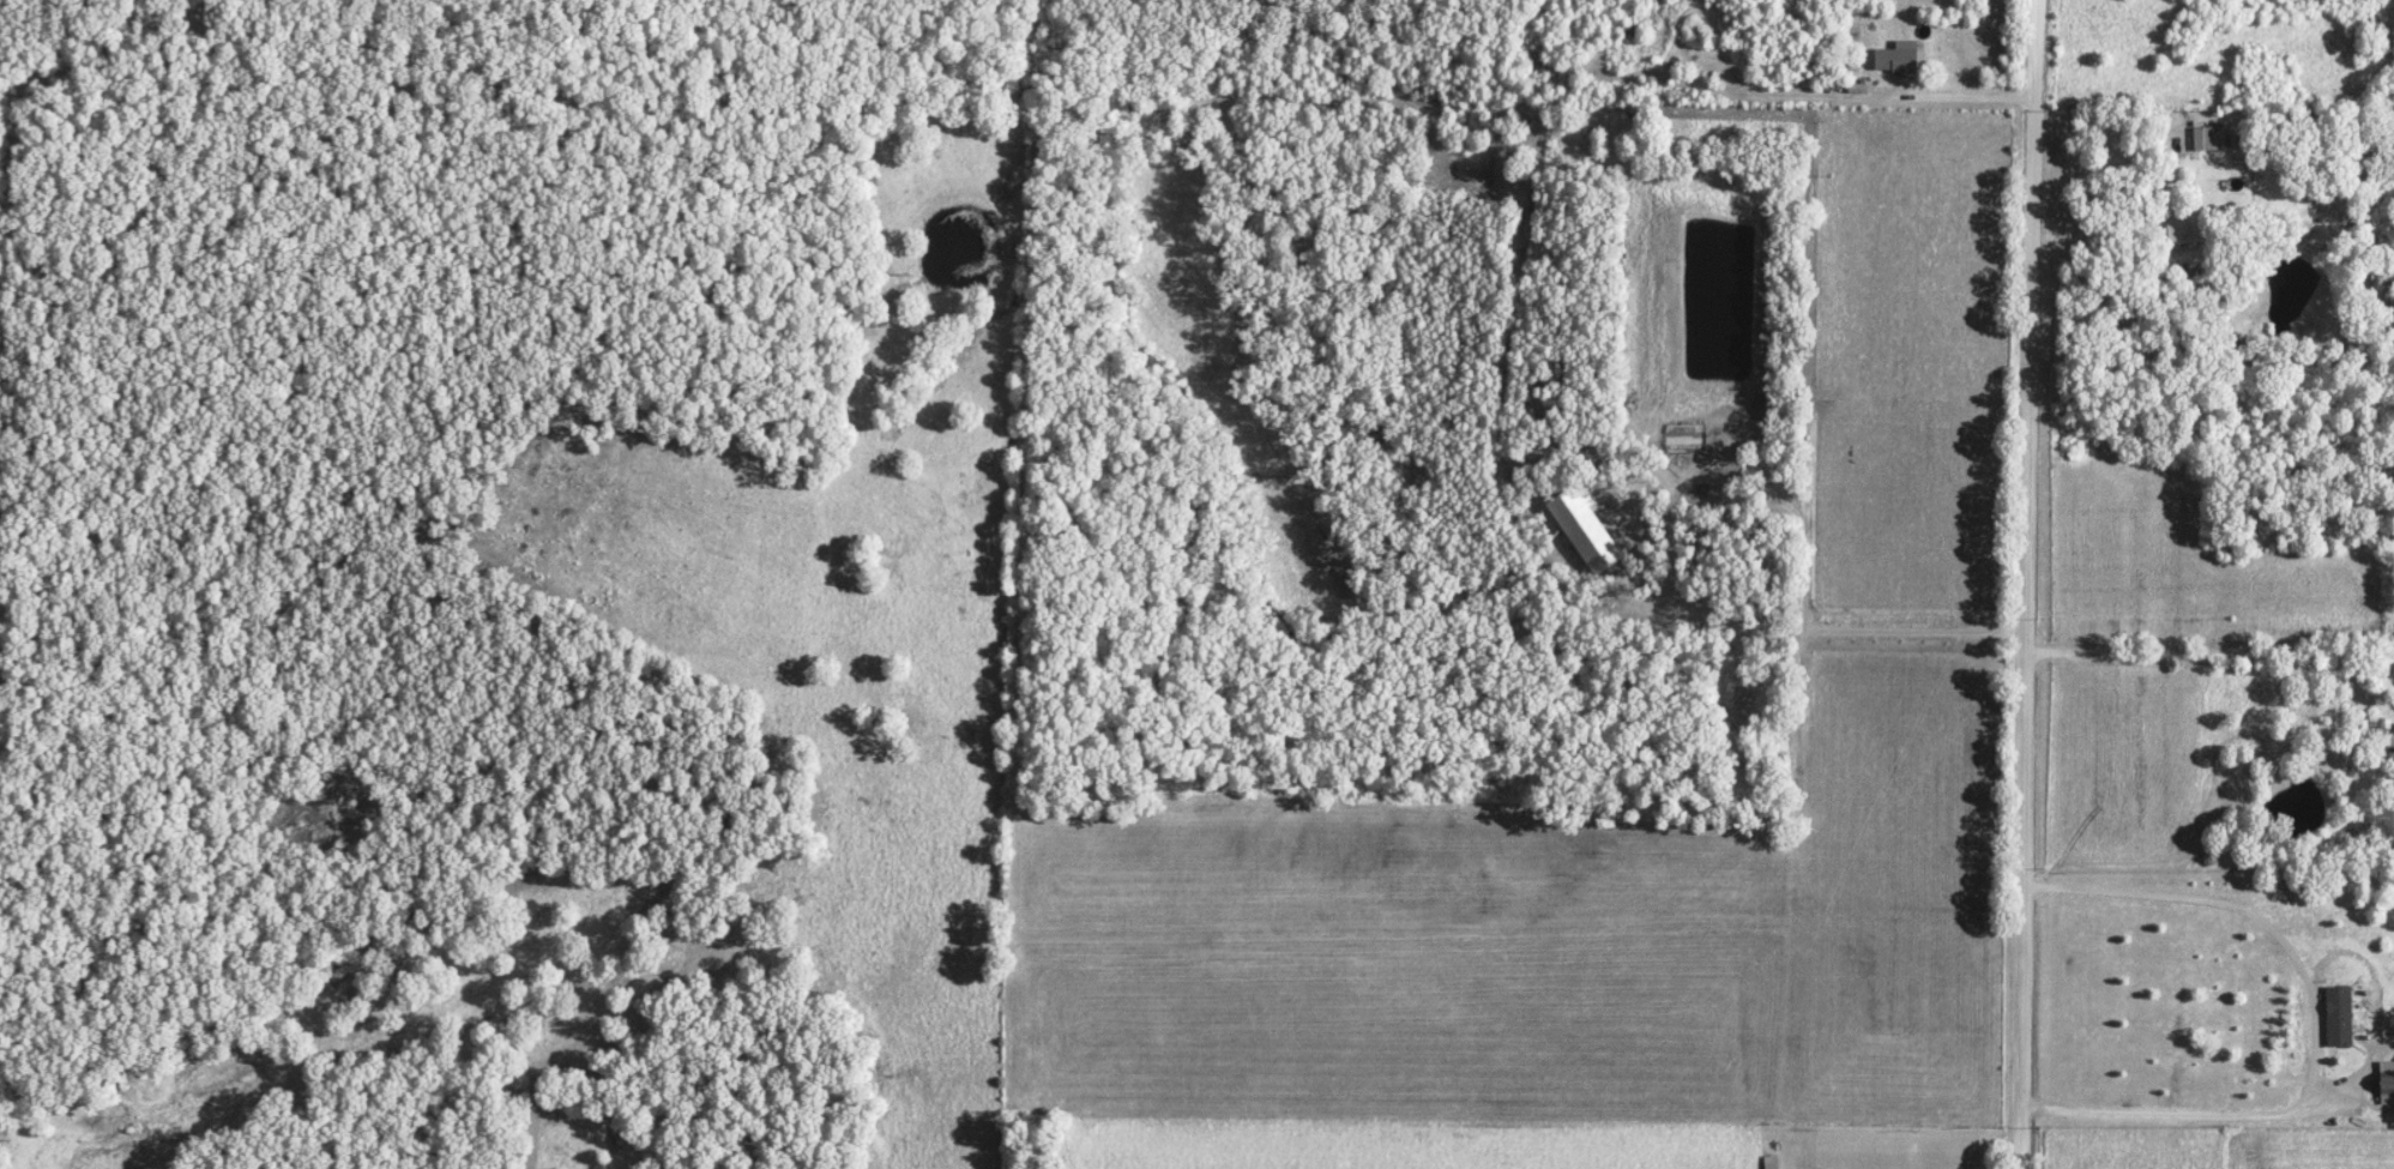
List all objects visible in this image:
building: (1893, 60)
road: (1831, 98)
building: (2202, 139)
road: (2109, 144)
building: (1581, 529)
road: (2018, 584)
road: (2205, 653)
building: (2335, 1019)
building: (2384, 1084)
road: (2185, 1115)
building: (1768, 1163)

